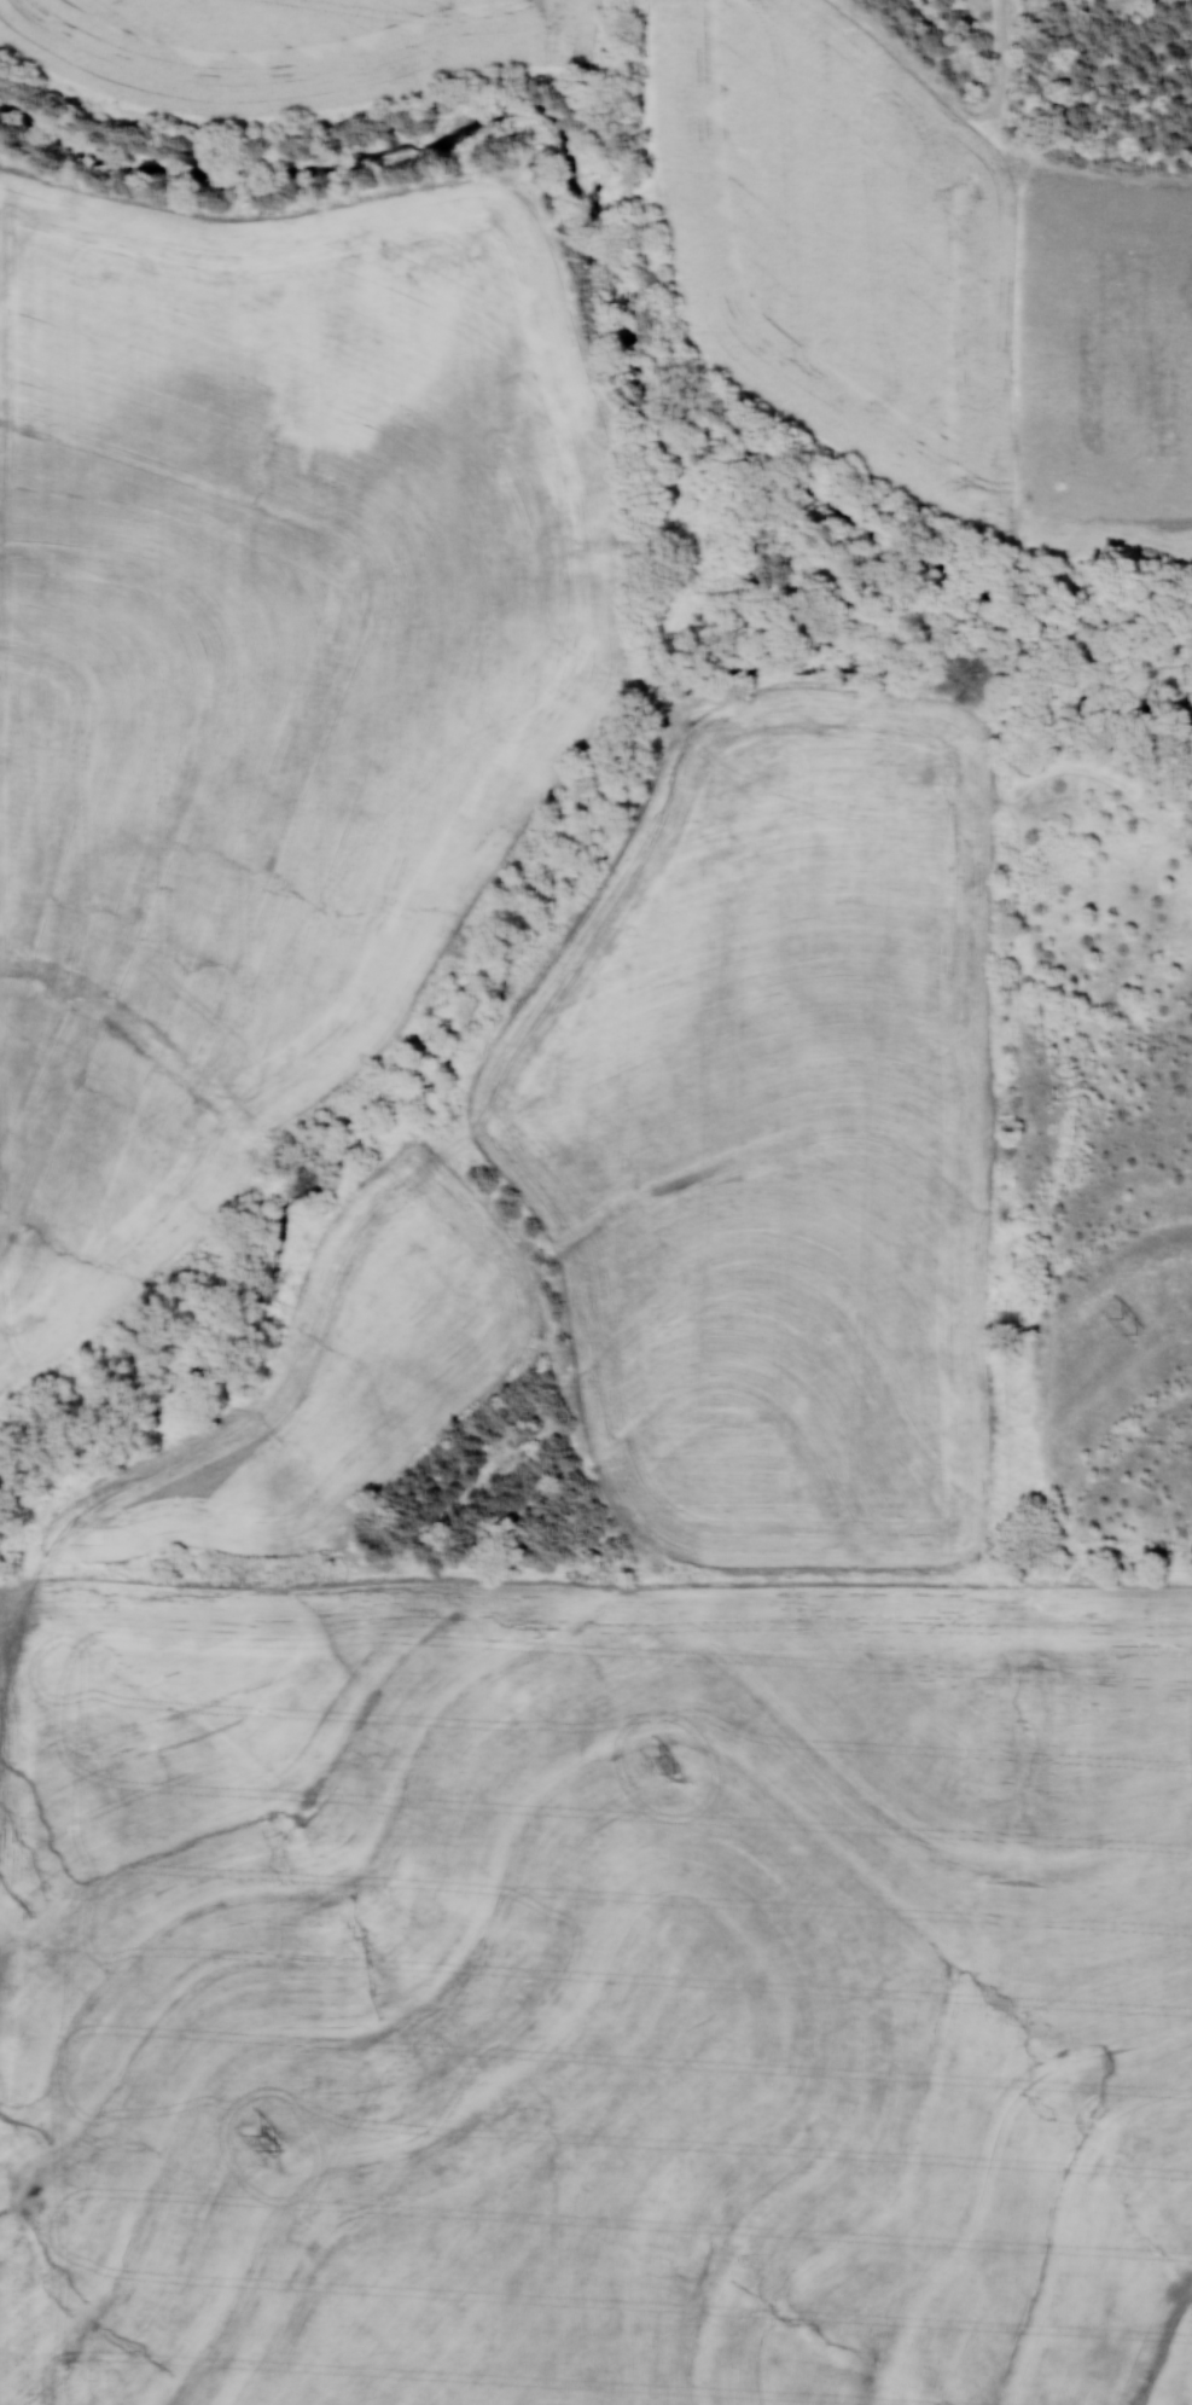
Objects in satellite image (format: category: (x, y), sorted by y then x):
power tower: (1139, 1323)
power tower: (674, 1764)
crop: (594, 1992)
power tower: (277, 2145)

